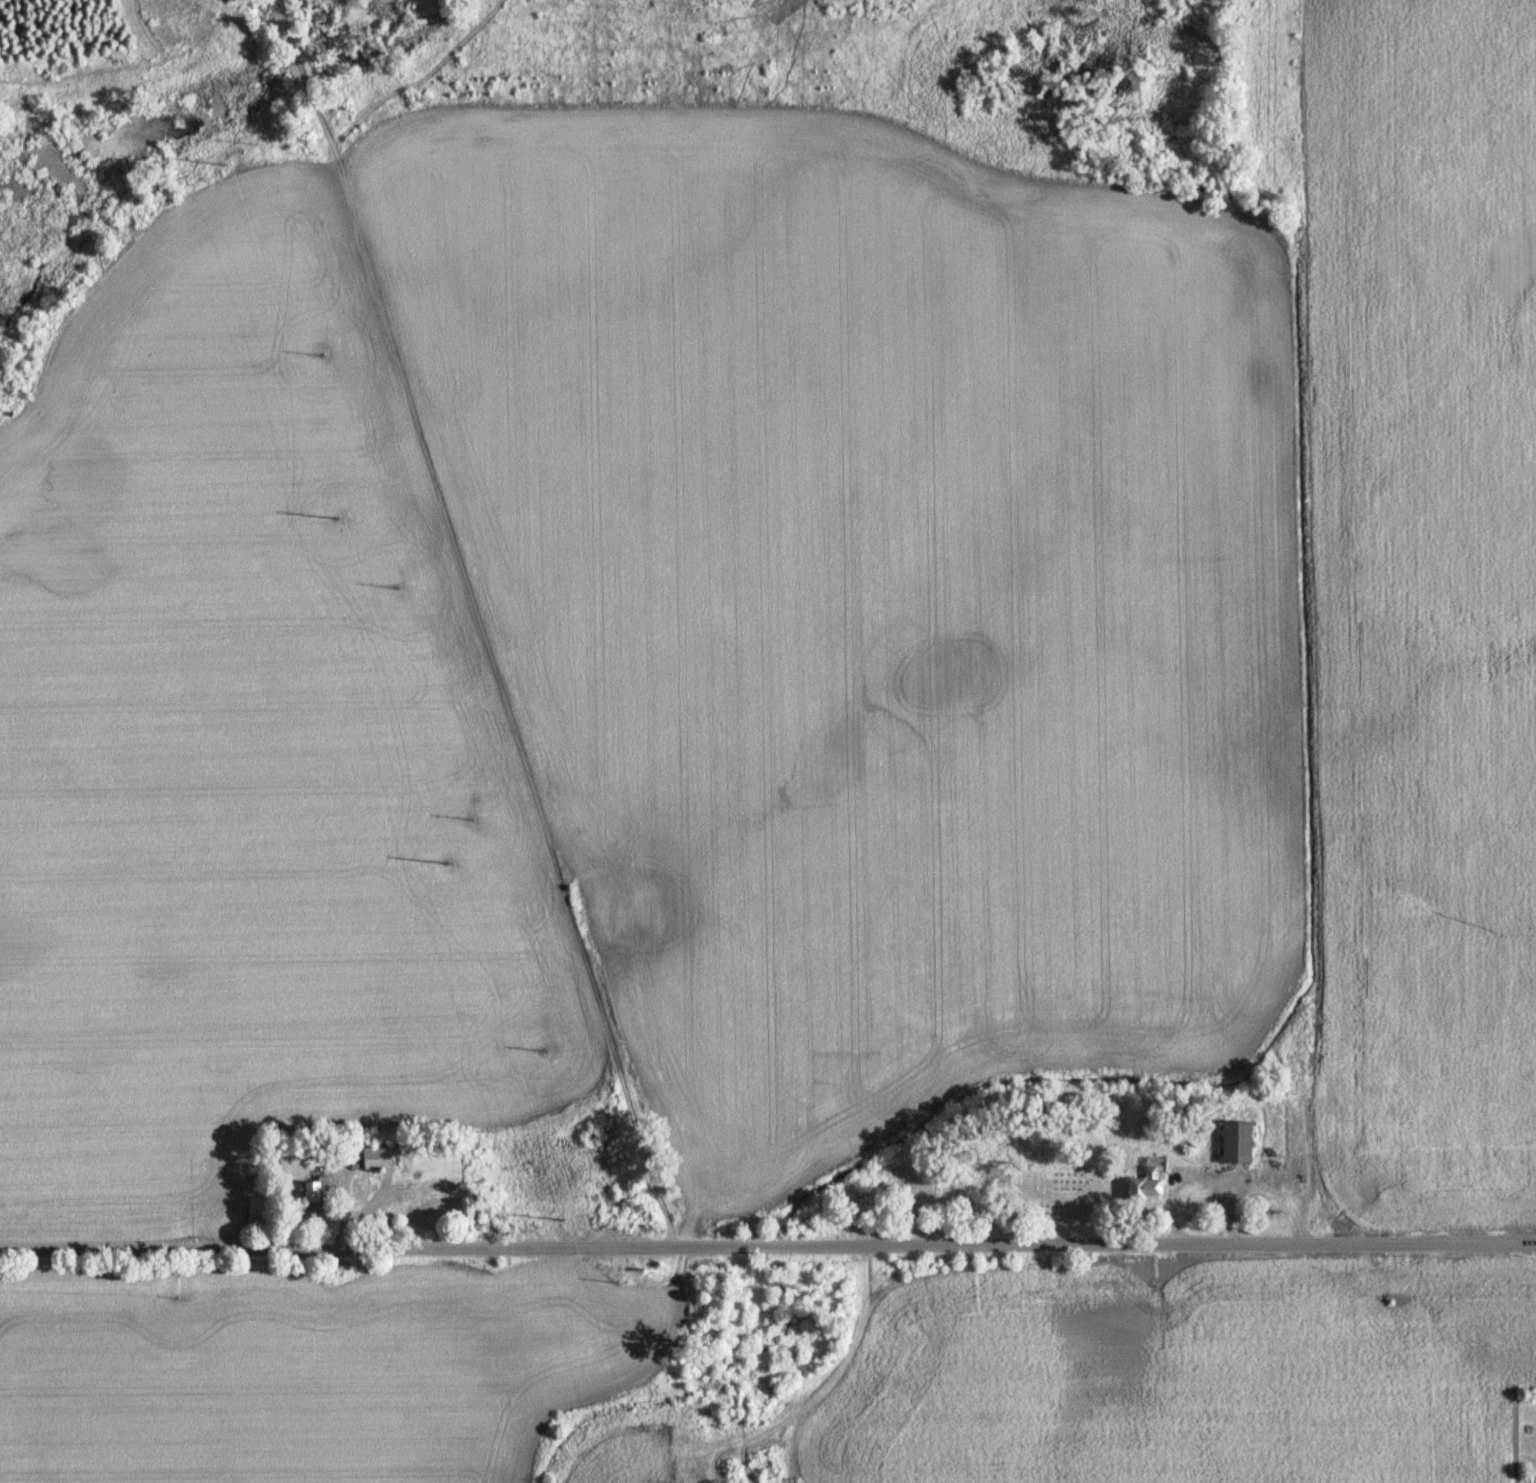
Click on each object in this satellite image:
building: (1233, 1142)
building: (374, 1159)
building: (1141, 1186)
building: (319, 1191)
road: (767, 1242)

